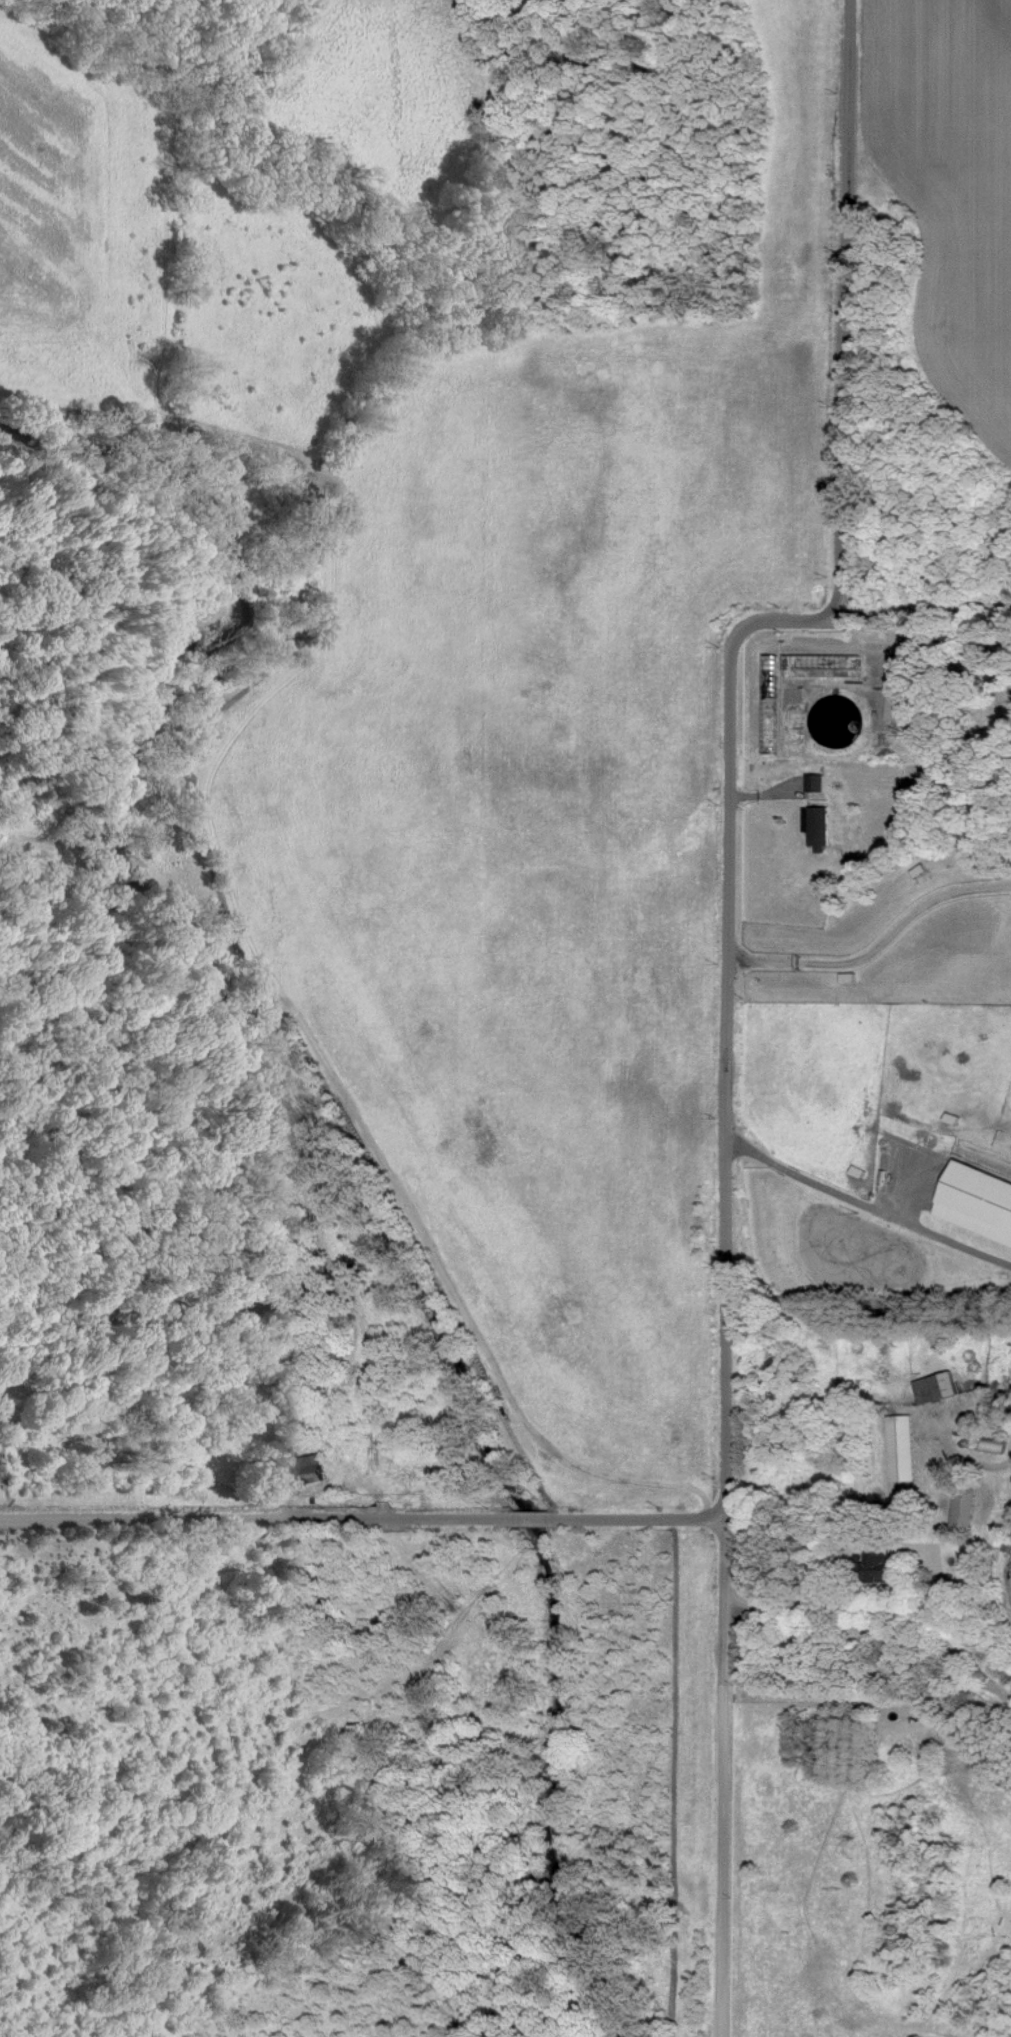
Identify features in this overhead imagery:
road: (926, 610)
building: (896, 688)
road: (729, 710)
building: (812, 782)
building: (814, 827)
road: (875, 947)
building: (976, 1202)
road: (865, 1206)
building: (933, 1387)
building: (992, 1445)
building: (898, 1447)
building: (310, 1468)
building: (962, 1504)
road: (362, 1518)
building: (875, 1563)
road: (720, 1773)
road: (716, 2031)

